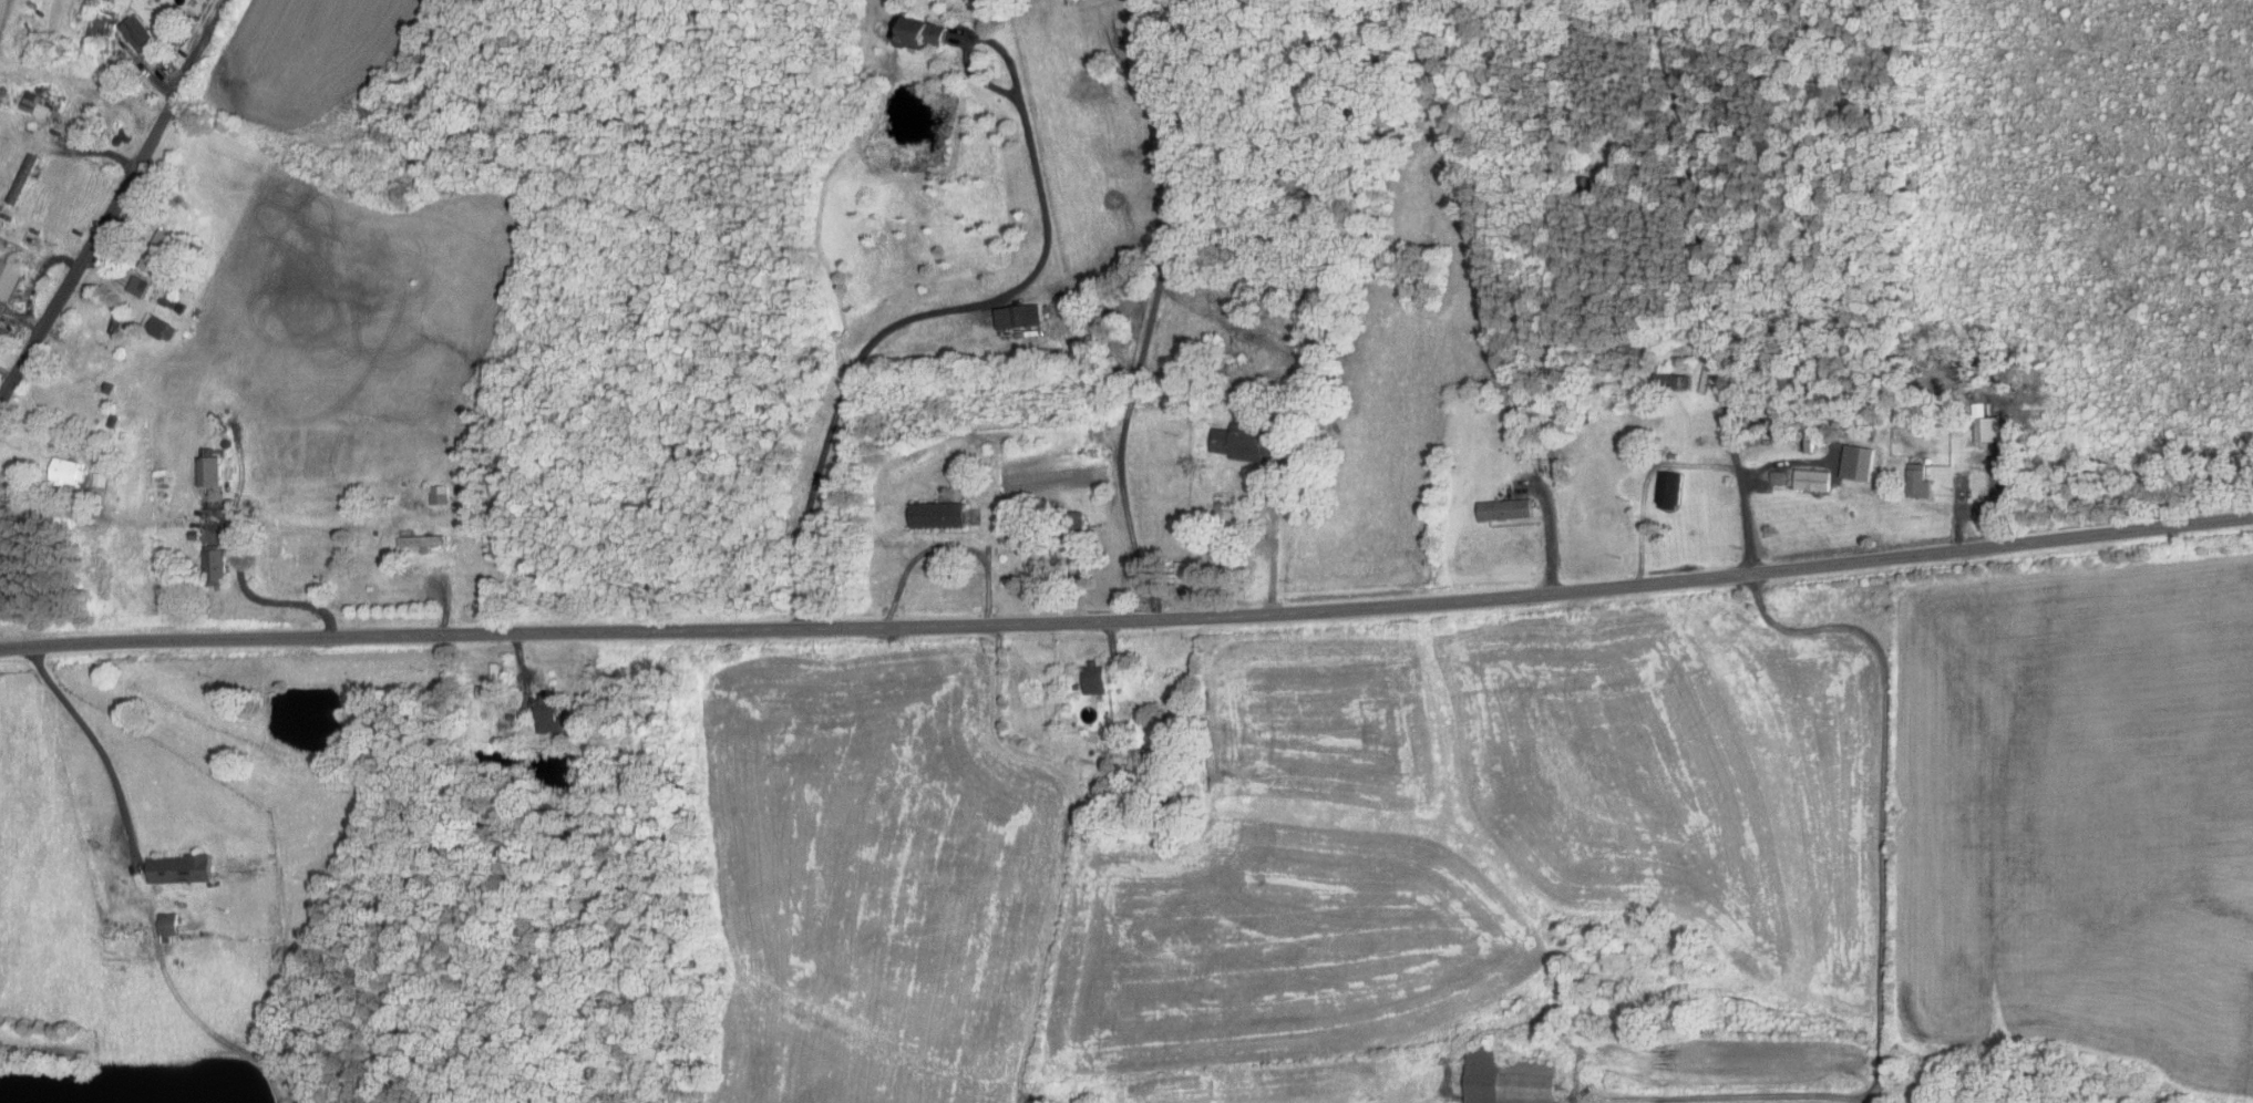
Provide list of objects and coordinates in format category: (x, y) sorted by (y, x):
building: (96, 24)
building: (134, 32)
building: (914, 32)
road: (203, 42)
building: (39, 104)
road: (92, 243)
building: (163, 264)
road: (33, 278)
building: (10, 280)
building: (140, 284)
road: (1707, 286)
building: (171, 299)
road: (985, 301)
road: (1153, 311)
building: (1015, 315)
building: (162, 326)
building: (1673, 380)
building: (1984, 427)
building: (1236, 440)
building: (1855, 461)
building: (69, 468)
building: (207, 468)
building: (1776, 476)
building: (1810, 478)
building: (1915, 480)
road: (1645, 483)
building: (1667, 486)
building: (435, 493)
building: (1501, 507)
building: (933, 513)
road: (1550, 525)
building: (418, 539)
road: (943, 544)
building: (212, 565)
road: (258, 597)
road: (1129, 618)
building: (1090, 677)
building: (490, 683)
building: (522, 698)
building: (545, 713)
road: (96, 742)
road: (1884, 791)
building: (174, 867)
building: (165, 926)
building: (1503, 1078)
road: (1734, 1093)
road: (1027, 1100)

